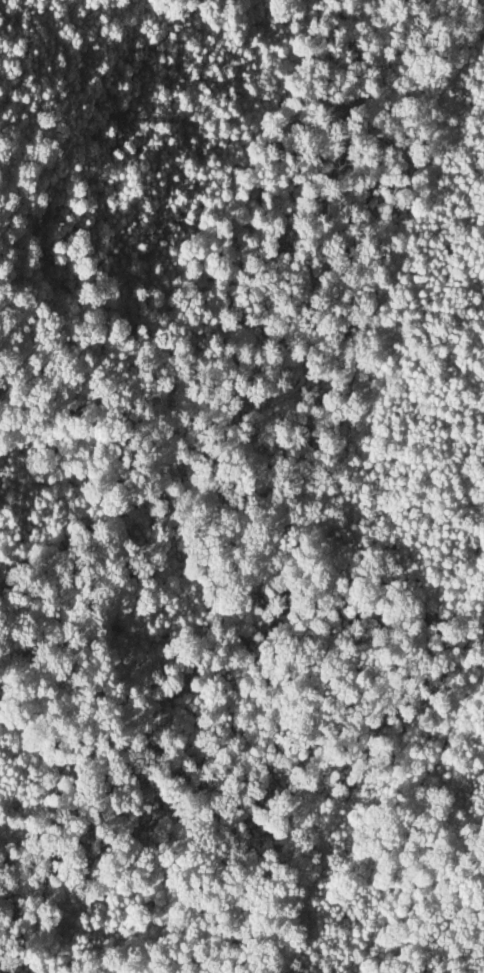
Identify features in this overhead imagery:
road: (480, 648)

